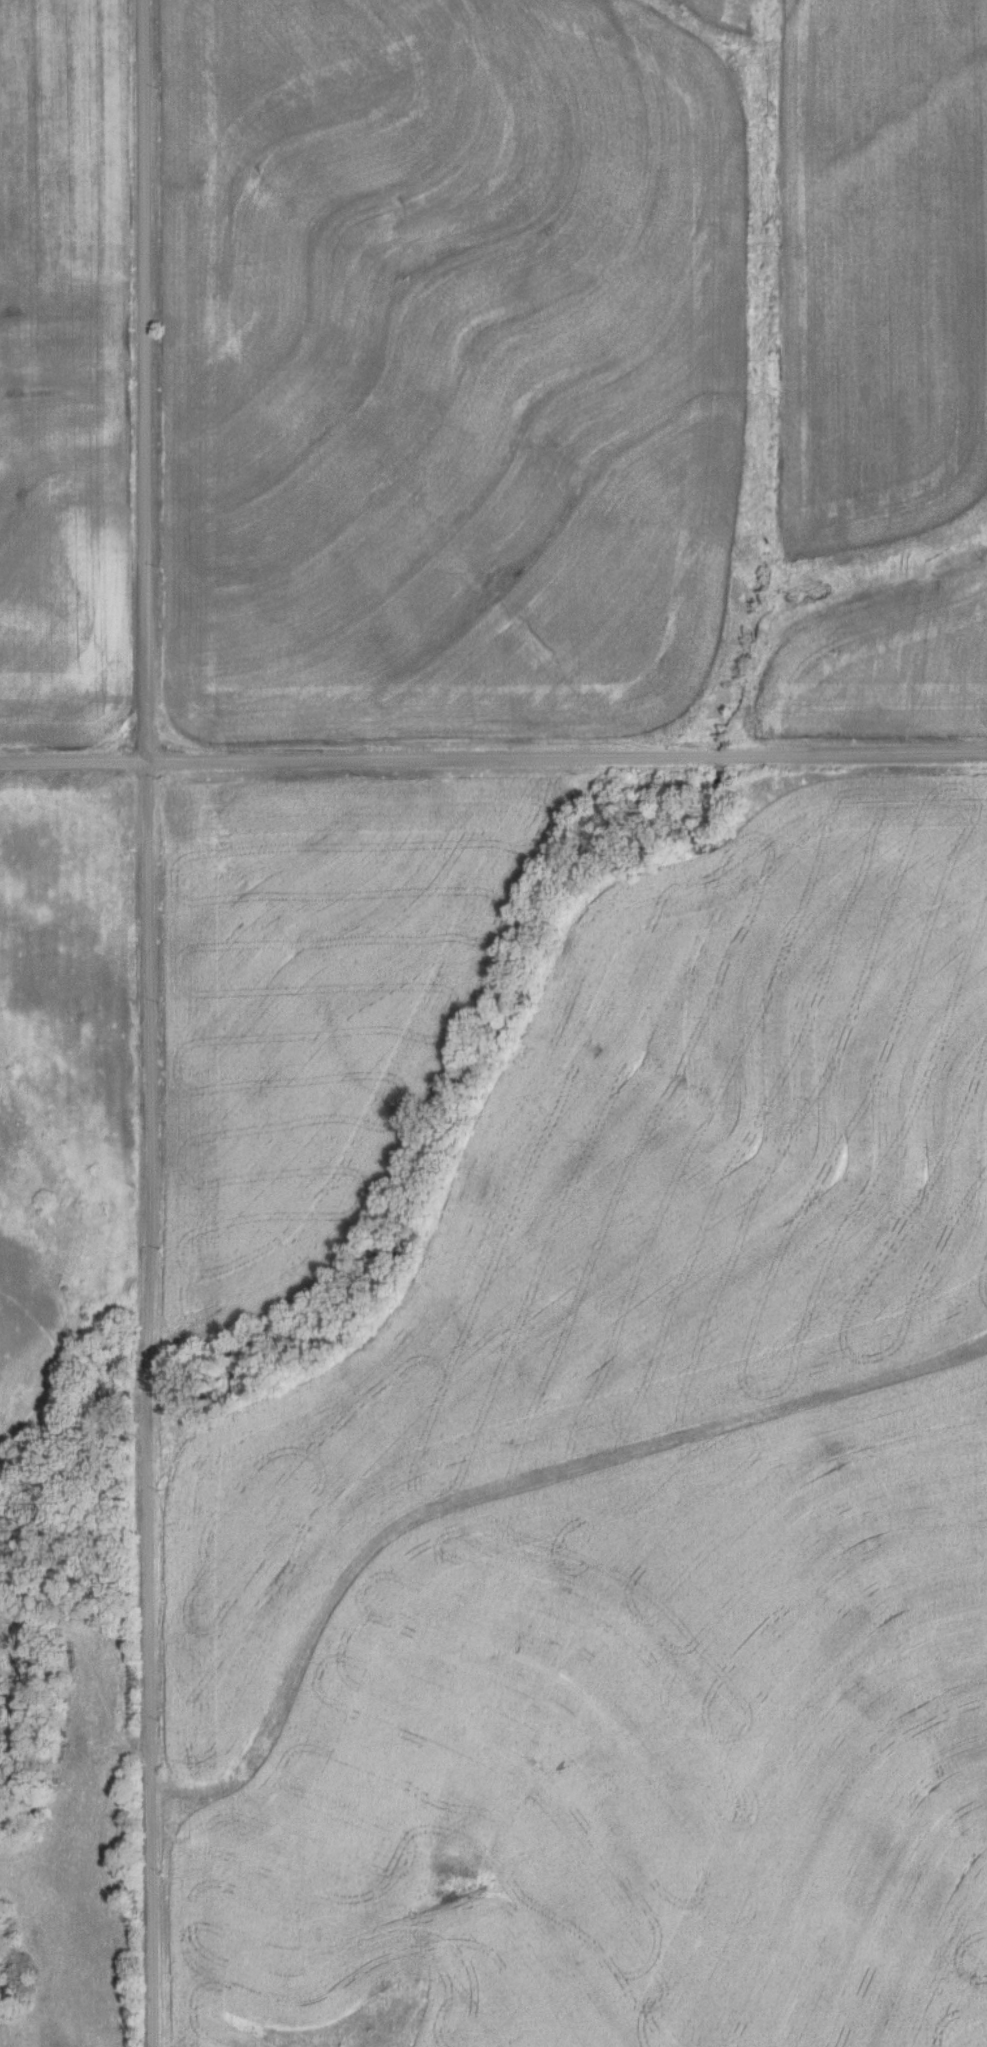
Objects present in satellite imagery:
road: (143, 381)
road: (570, 757)
road: (77, 762)
road: (143, 1404)

